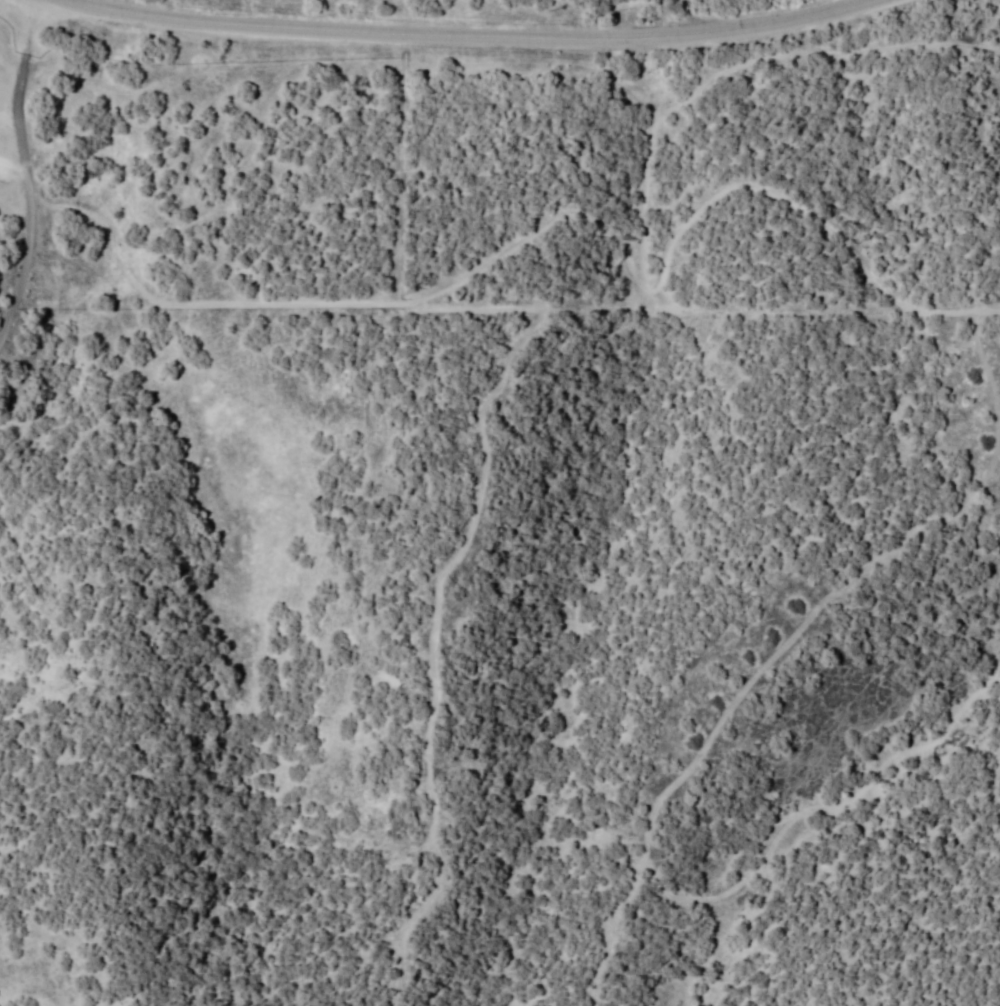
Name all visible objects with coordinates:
road: (473, 33)
road: (26, 169)

